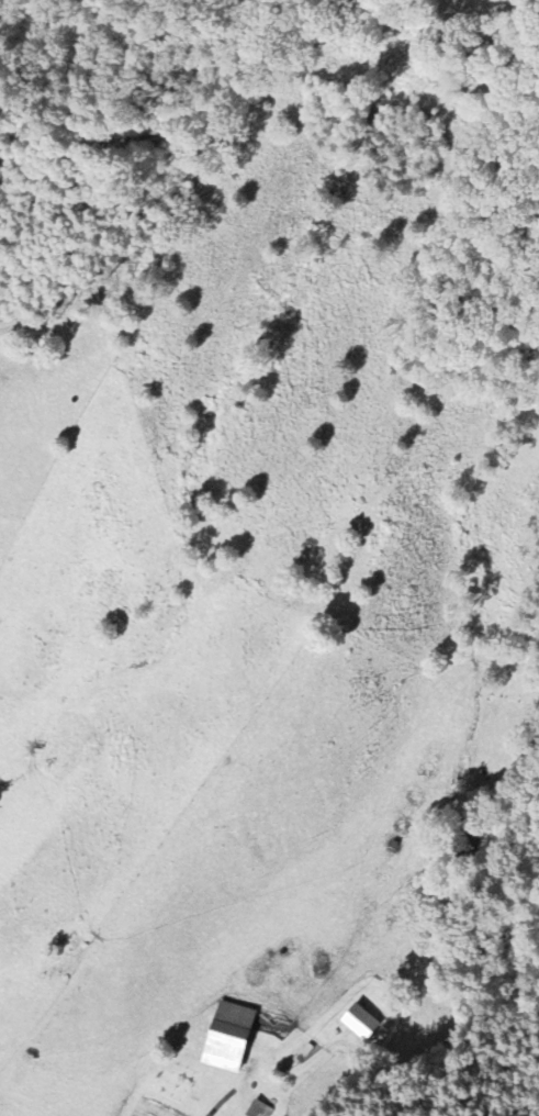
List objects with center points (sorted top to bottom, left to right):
park: (64, 956)
building: (360, 1022)
building: (228, 1037)

